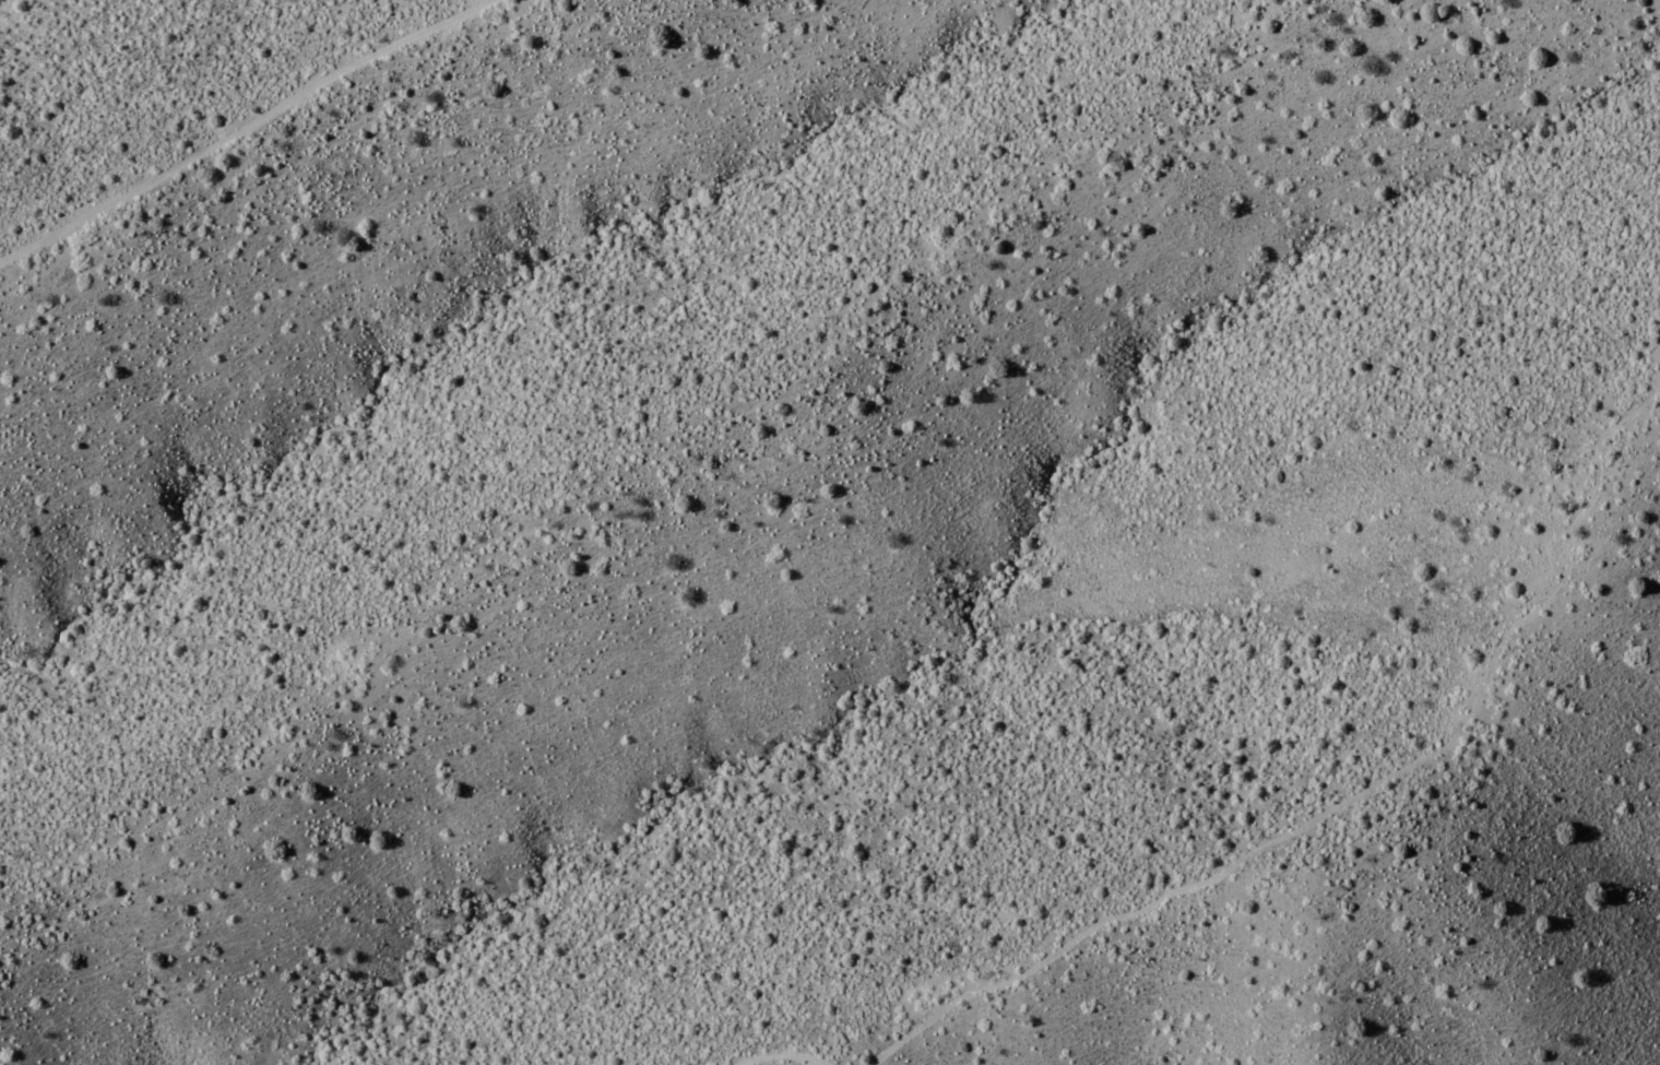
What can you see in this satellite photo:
road: (242, 126)

